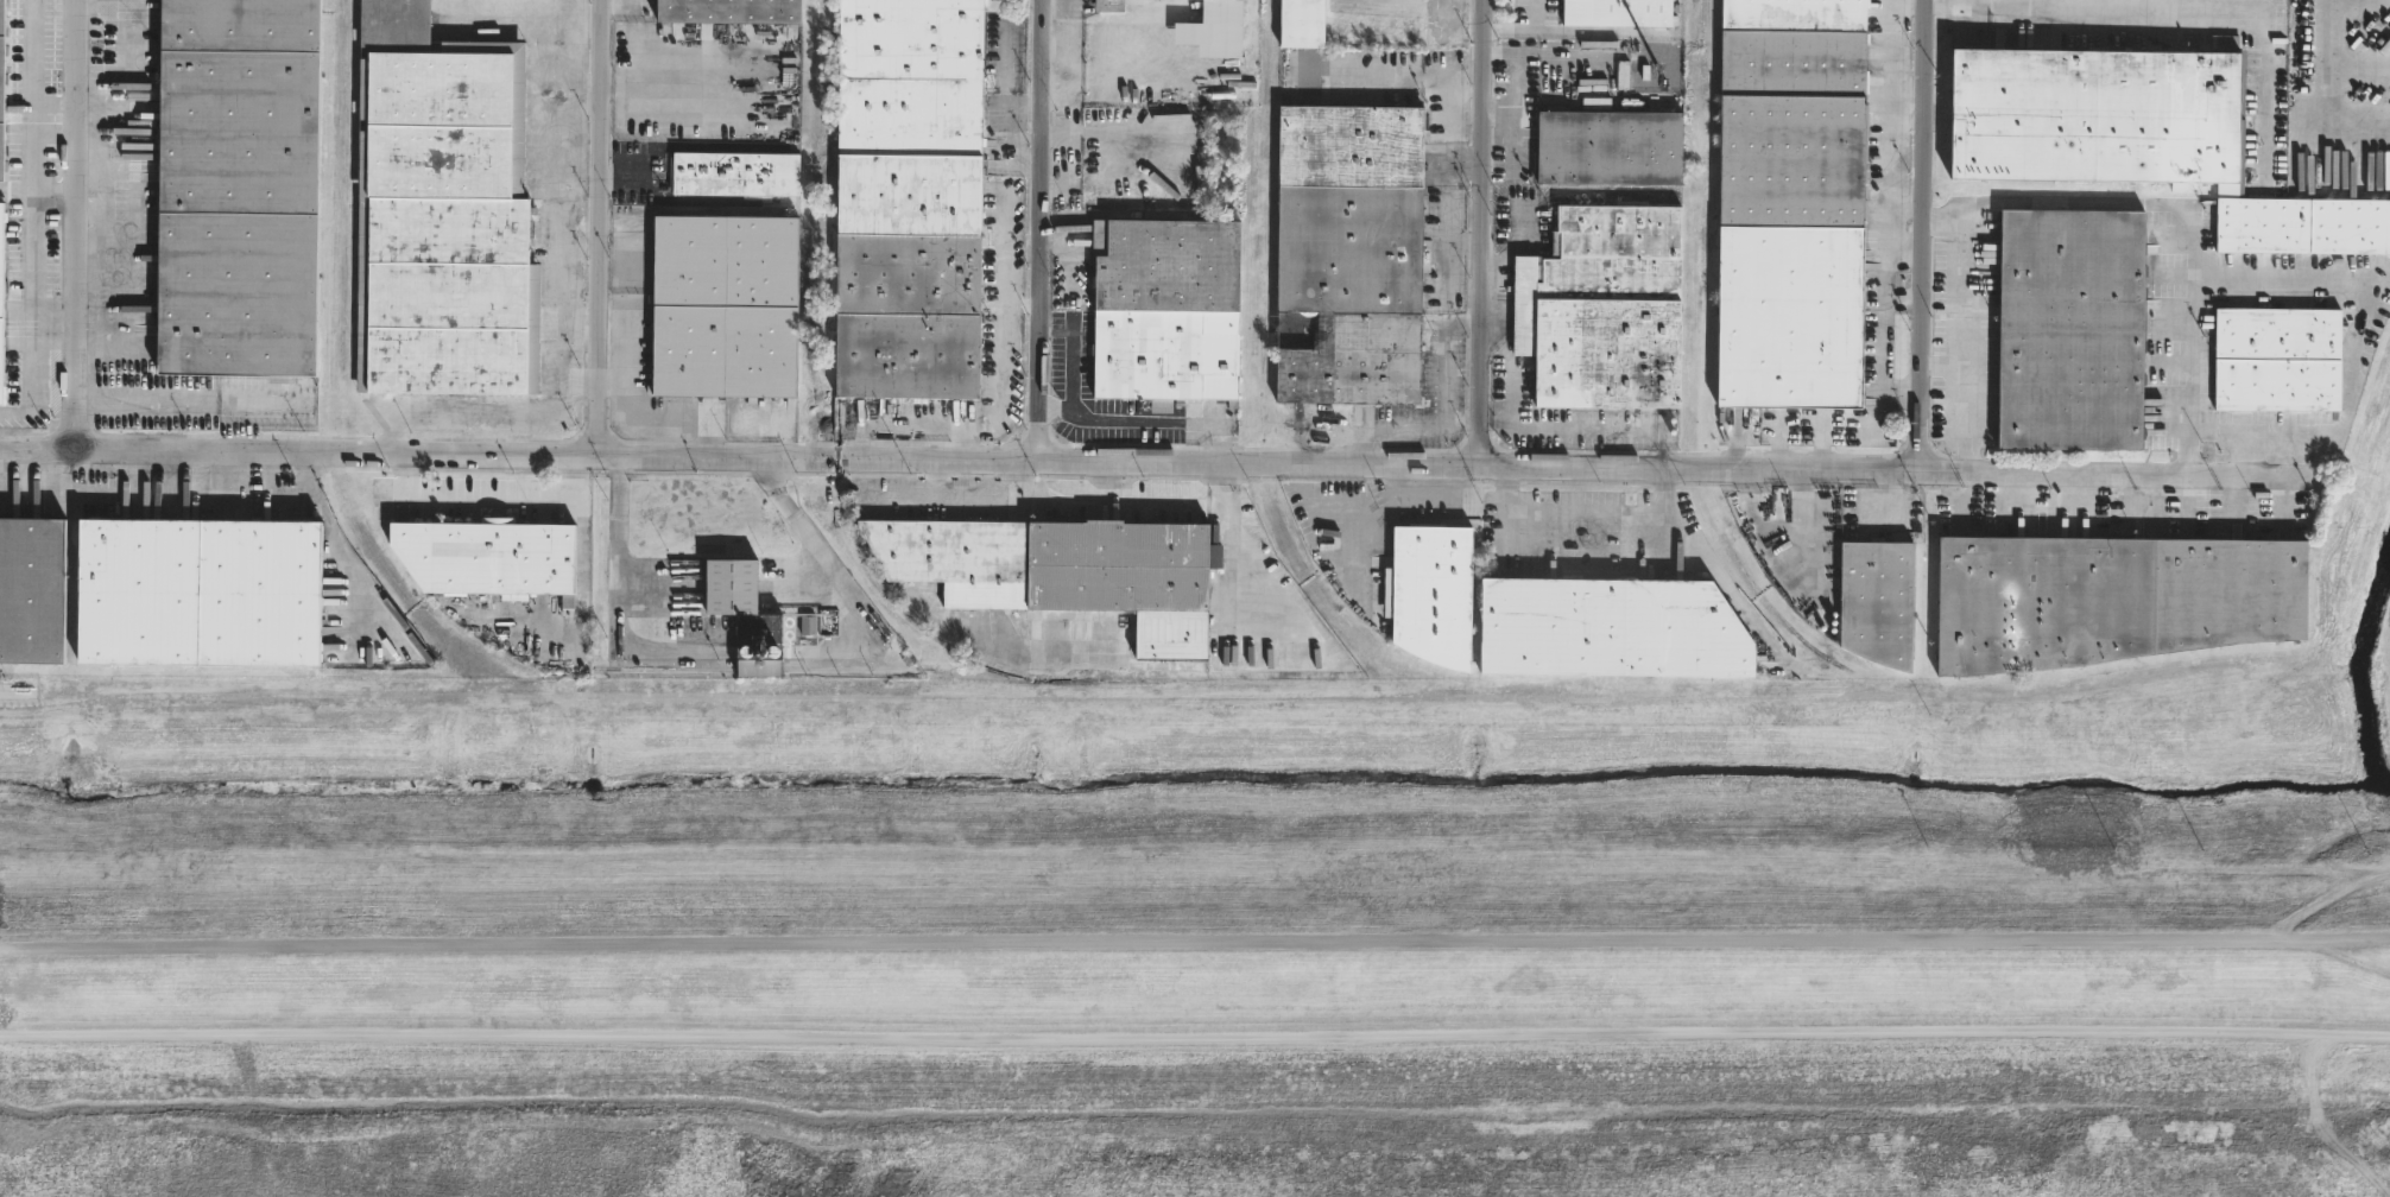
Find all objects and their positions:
building: (1234, 0)
road: (2081, 1)
building: (1107, 5)
road: (1055, 8)
building: (1218, 9)
building: (726, 11)
road: (1534, 14)
building: (1625, 15)
building: (1300, 24)
road: (1492, 50)
road: (1555, 50)
road: (2325, 85)
building: (2, 90)
building: (2097, 116)
road: (1454, 126)
building: (1610, 145)
building: (734, 173)
building: (236, 186)
road: (37, 196)
building: (906, 199)
building: (1791, 204)
road: (2182, 204)
building: (438, 211)
road: (33, 222)
road: (74, 224)
building: (2303, 226)
road: (597, 227)
road: (1038, 230)
road: (1480, 230)
road: (1924, 235)
building: (1348, 254)
building: (731, 304)
road: (1020, 304)
building: (1, 305)
building: (1602, 309)
building: (1164, 311)
building: (2072, 331)
road: (1964, 344)
road: (2353, 346)
building: (2278, 360)
road: (1943, 365)
road: (1444, 372)
road: (1005, 386)
road: (1143, 424)
road: (1316, 427)
road: (962, 442)
road: (1136, 462)
railway: (1267, 462)
road: (1111, 483)
road: (106, 496)
road: (489, 500)
road: (946, 501)
road: (1120, 506)
road: (1582, 515)
road: (803, 525)
road: (618, 537)
building: (488, 556)
road: (1250, 565)
building: (1061, 568)
building: (33, 588)
building: (206, 590)
building: (1431, 591)
building: (1878, 596)
building: (2108, 597)
building: (752, 615)
building: (1610, 626)
building: (343, 653)
railway: (847, 669)
railway: (1501, 692)
road: (1195, 850)
power tower: (597, 874)
power tower: (934, 874)
power tower: (1270, 876)
power tower: (1775, 876)
power tower: (137, 878)
power tower: (2110, 880)
road: (2326, 899)
road: (1195, 944)
road: (2339, 954)
park: (1205, 967)
road: (1195, 1031)

